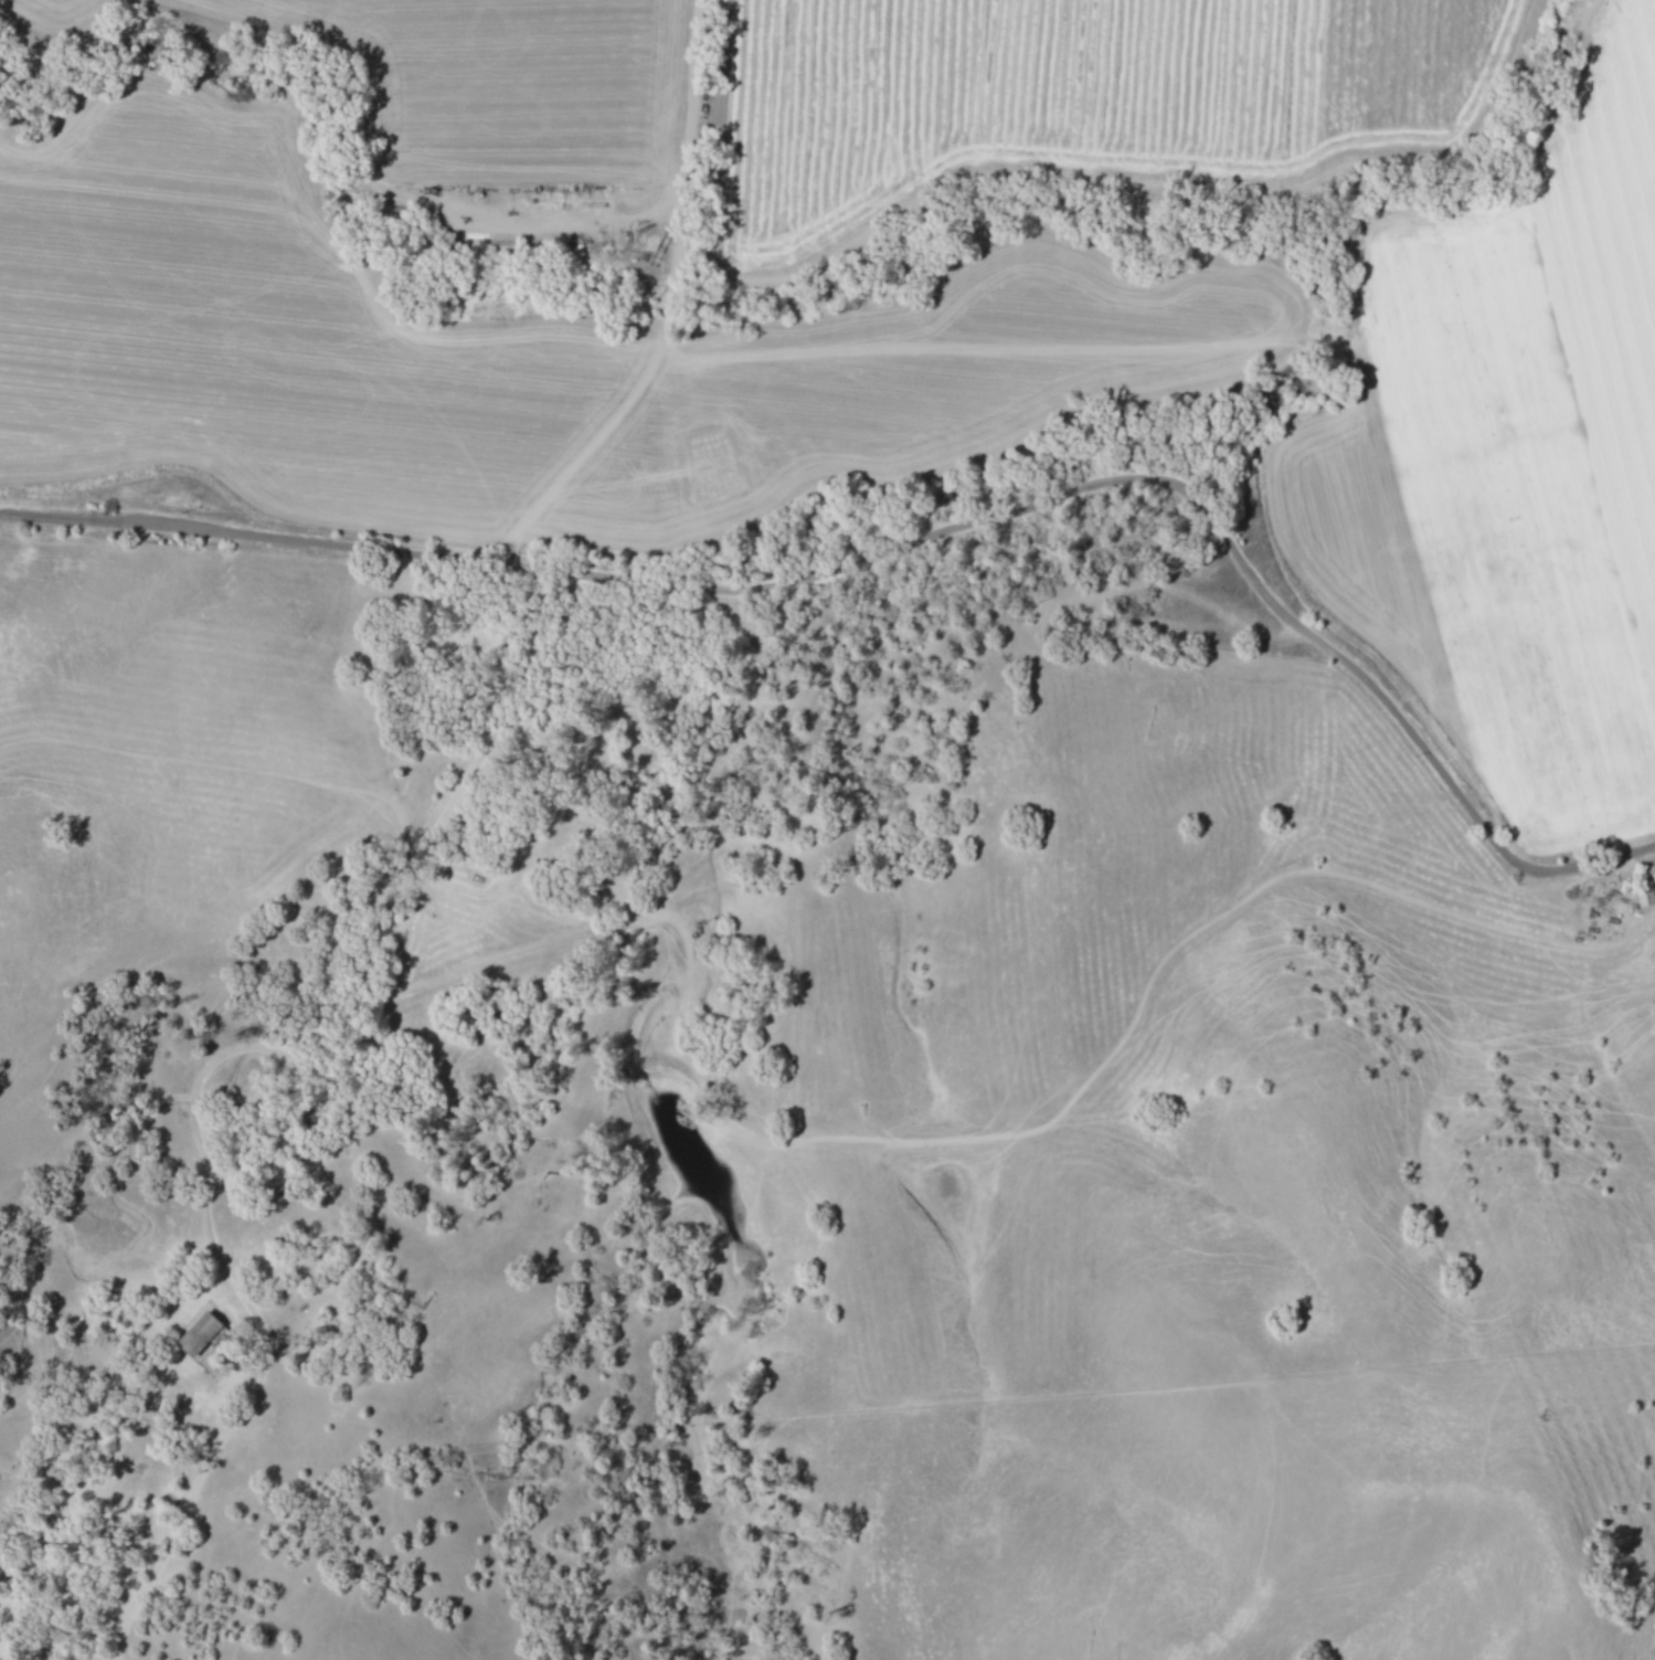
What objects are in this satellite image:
road: (916, 544)
building: (201, 1332)

